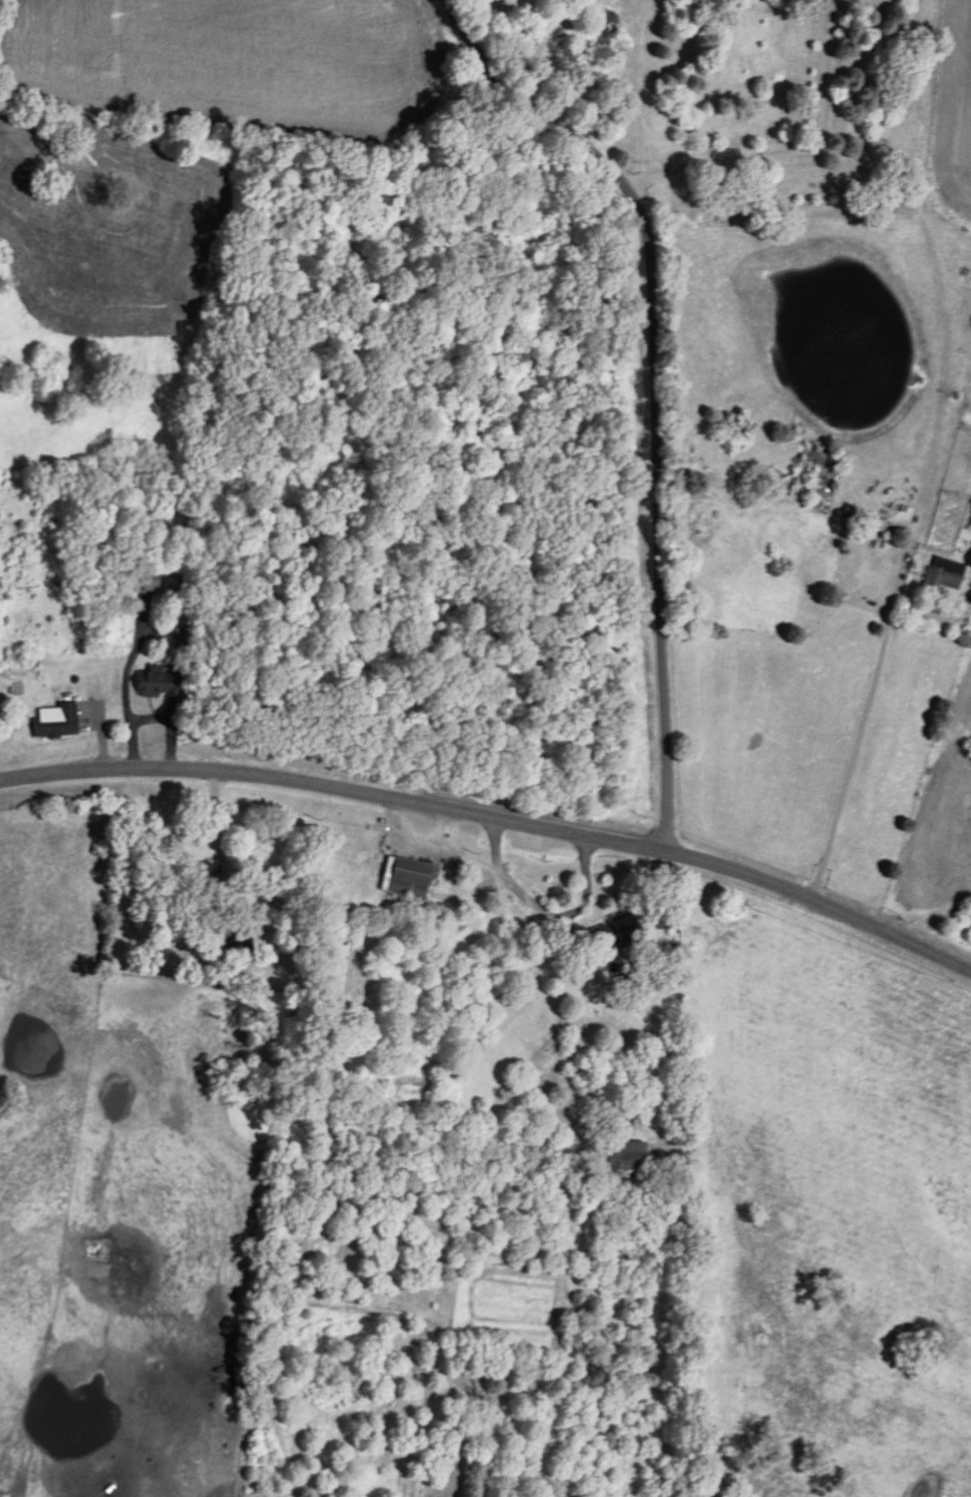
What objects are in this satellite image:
road: (801, 151)
road: (656, 378)
building: (942, 573)
building: (154, 681)
building: (55, 720)
road: (861, 730)
road: (496, 818)
road: (442, 832)
road: (434, 851)
building: (408, 876)
road: (543, 914)
building: (613, 931)
building: (622, 1154)

